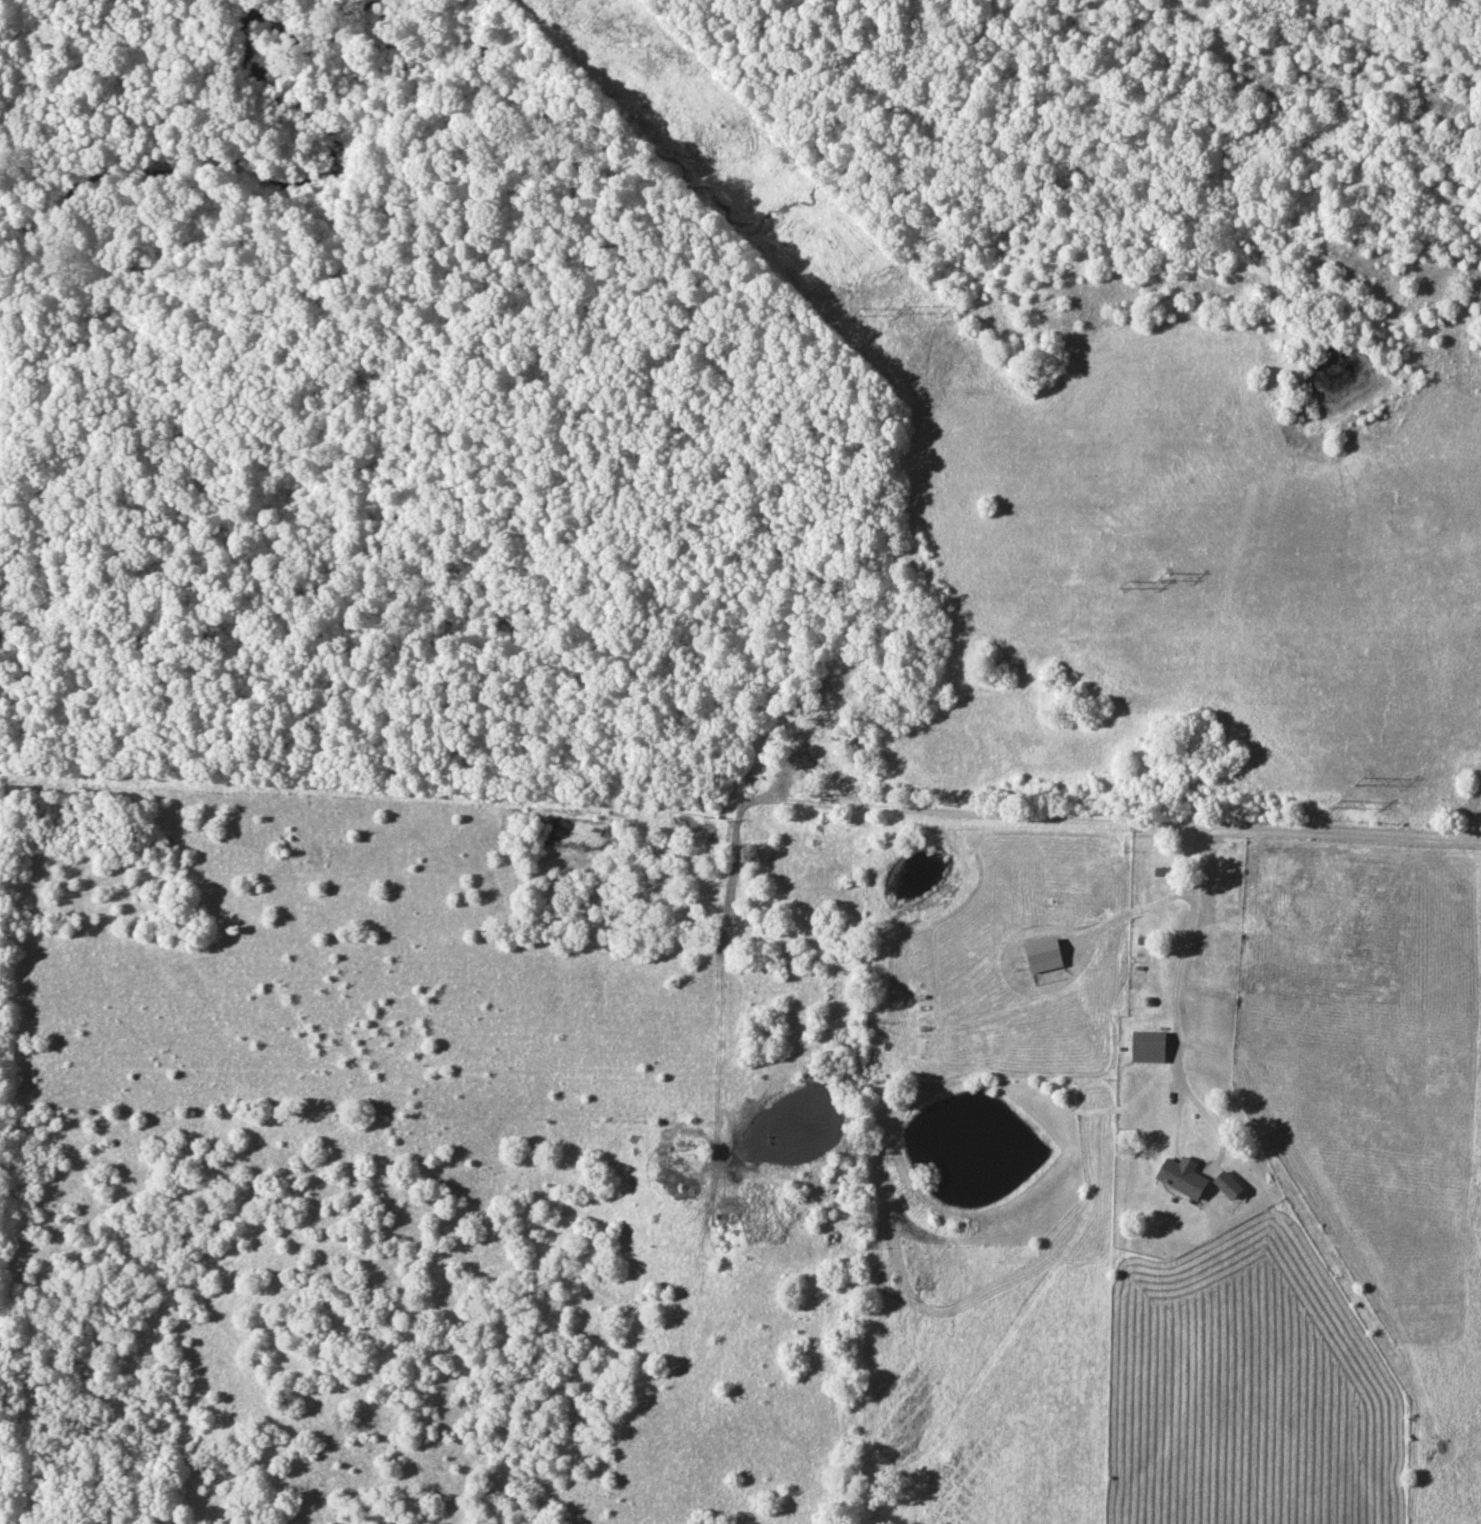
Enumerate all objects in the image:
power tower: (903, 311)
power tower: (858, 313)
power tower: (1164, 577)
power tower: (1126, 585)
power tower: (1360, 782)
power tower: (1337, 805)
road: (1109, 823)
building: (1224, 935)
building: (1137, 974)
road: (1178, 985)
building: (1150, 1047)
building: (1185, 1177)
building: (1230, 1185)

